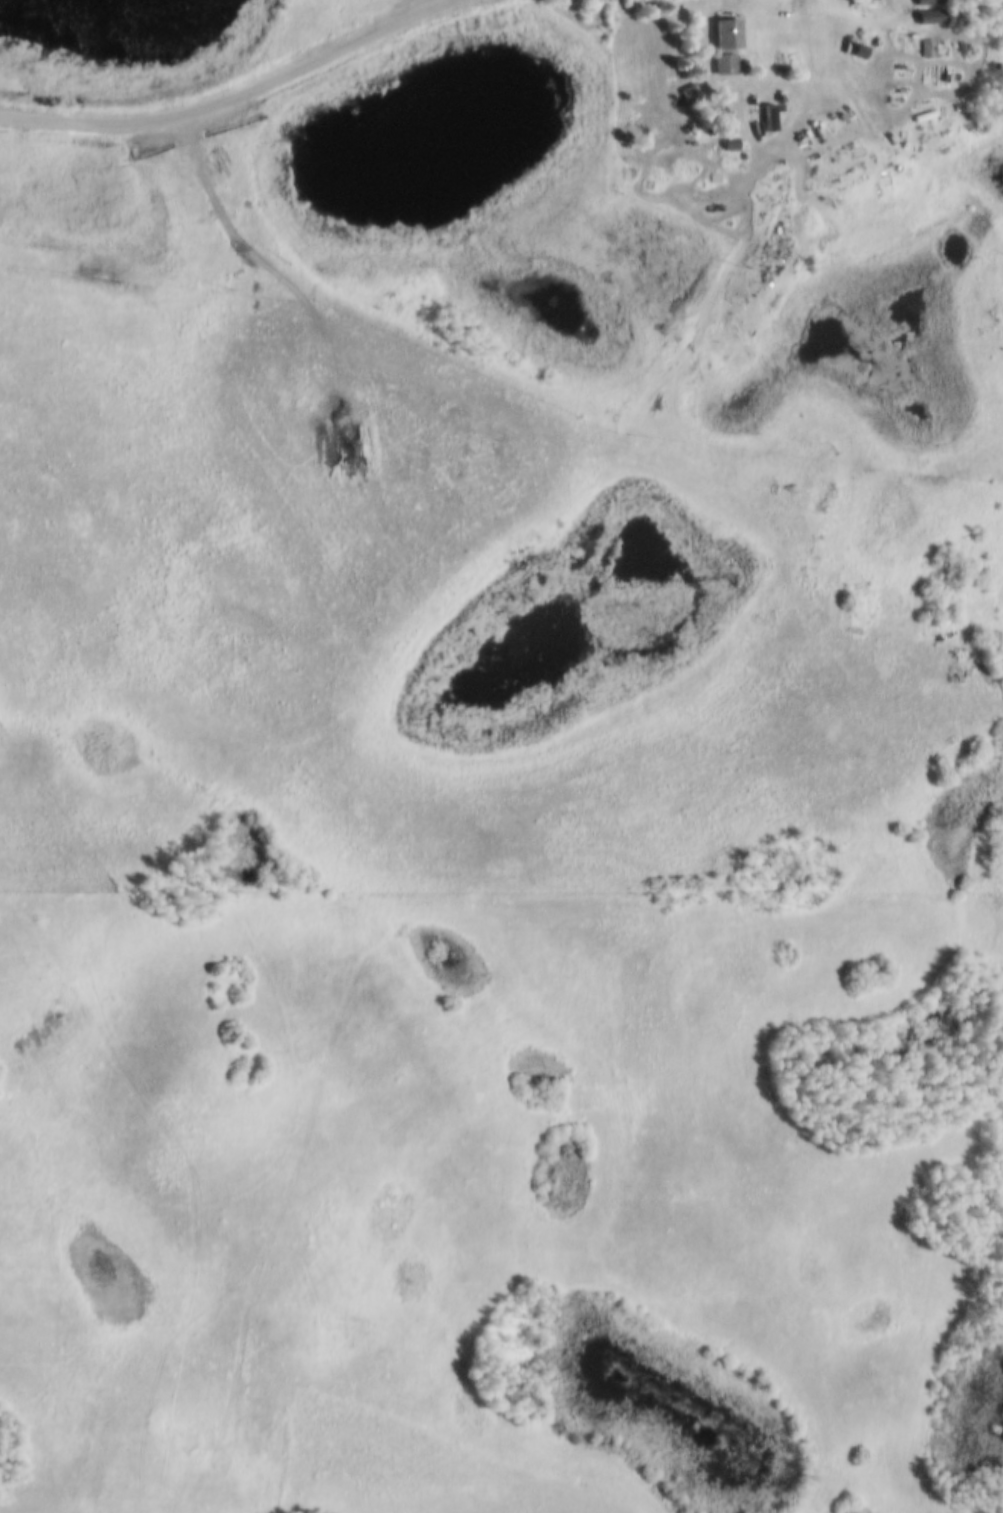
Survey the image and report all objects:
building: (725, 31)
building: (927, 45)
building: (723, 61)
building: (690, 90)
road: (232, 98)
building: (768, 114)

